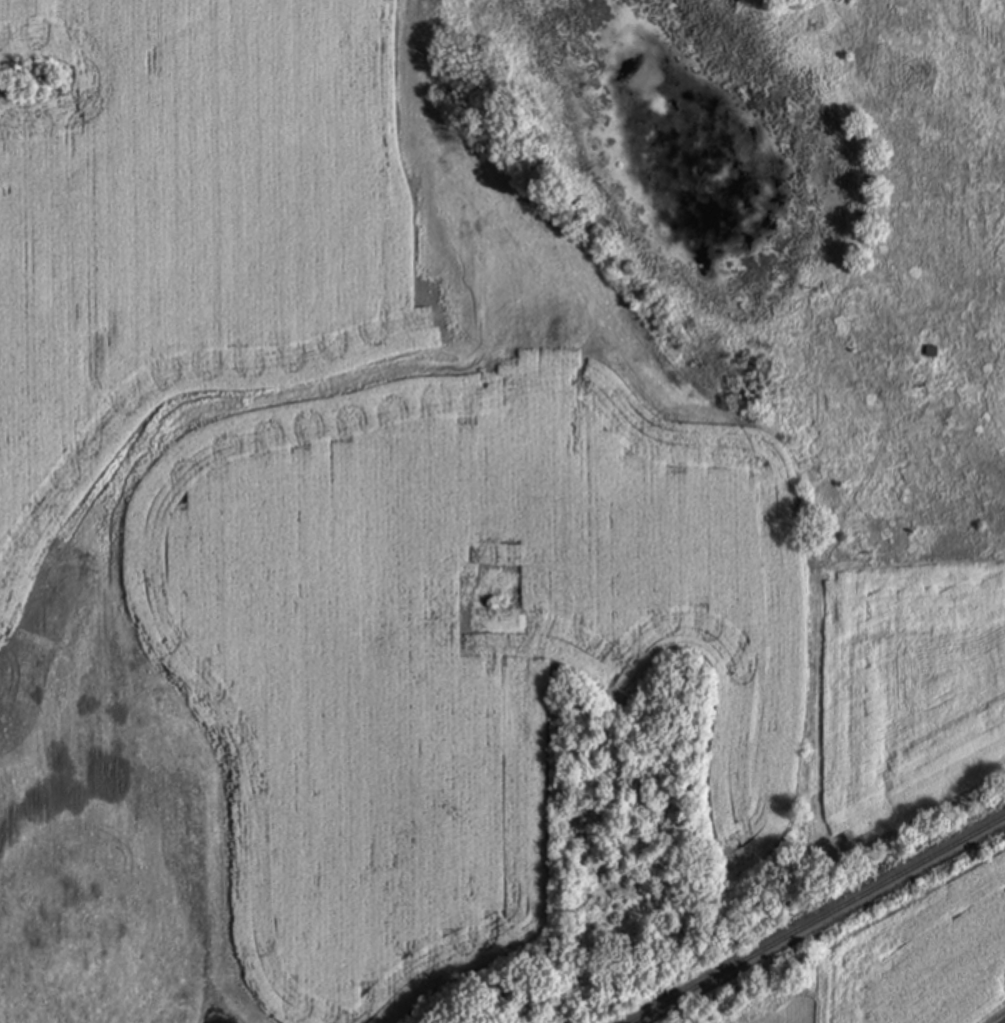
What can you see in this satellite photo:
railway: (818, 920)

